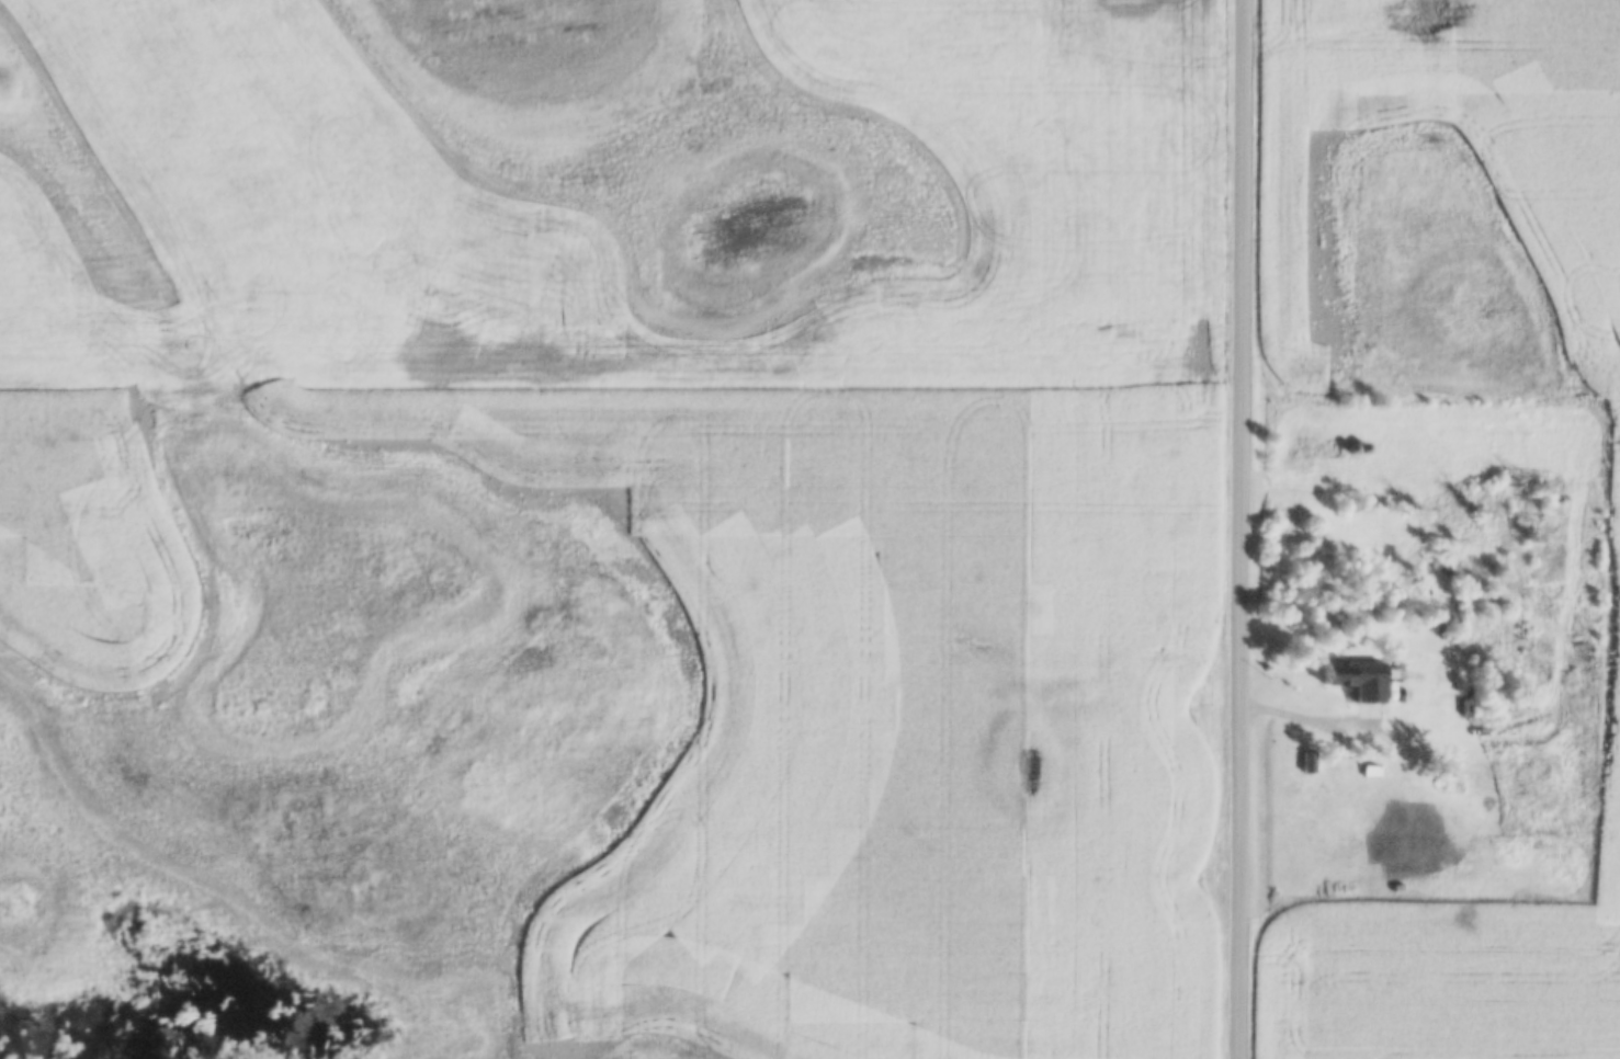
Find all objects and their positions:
road: (1246, 529)
building: (1350, 680)
road: (1313, 719)
building: (1498, 753)
building: (1400, 824)

